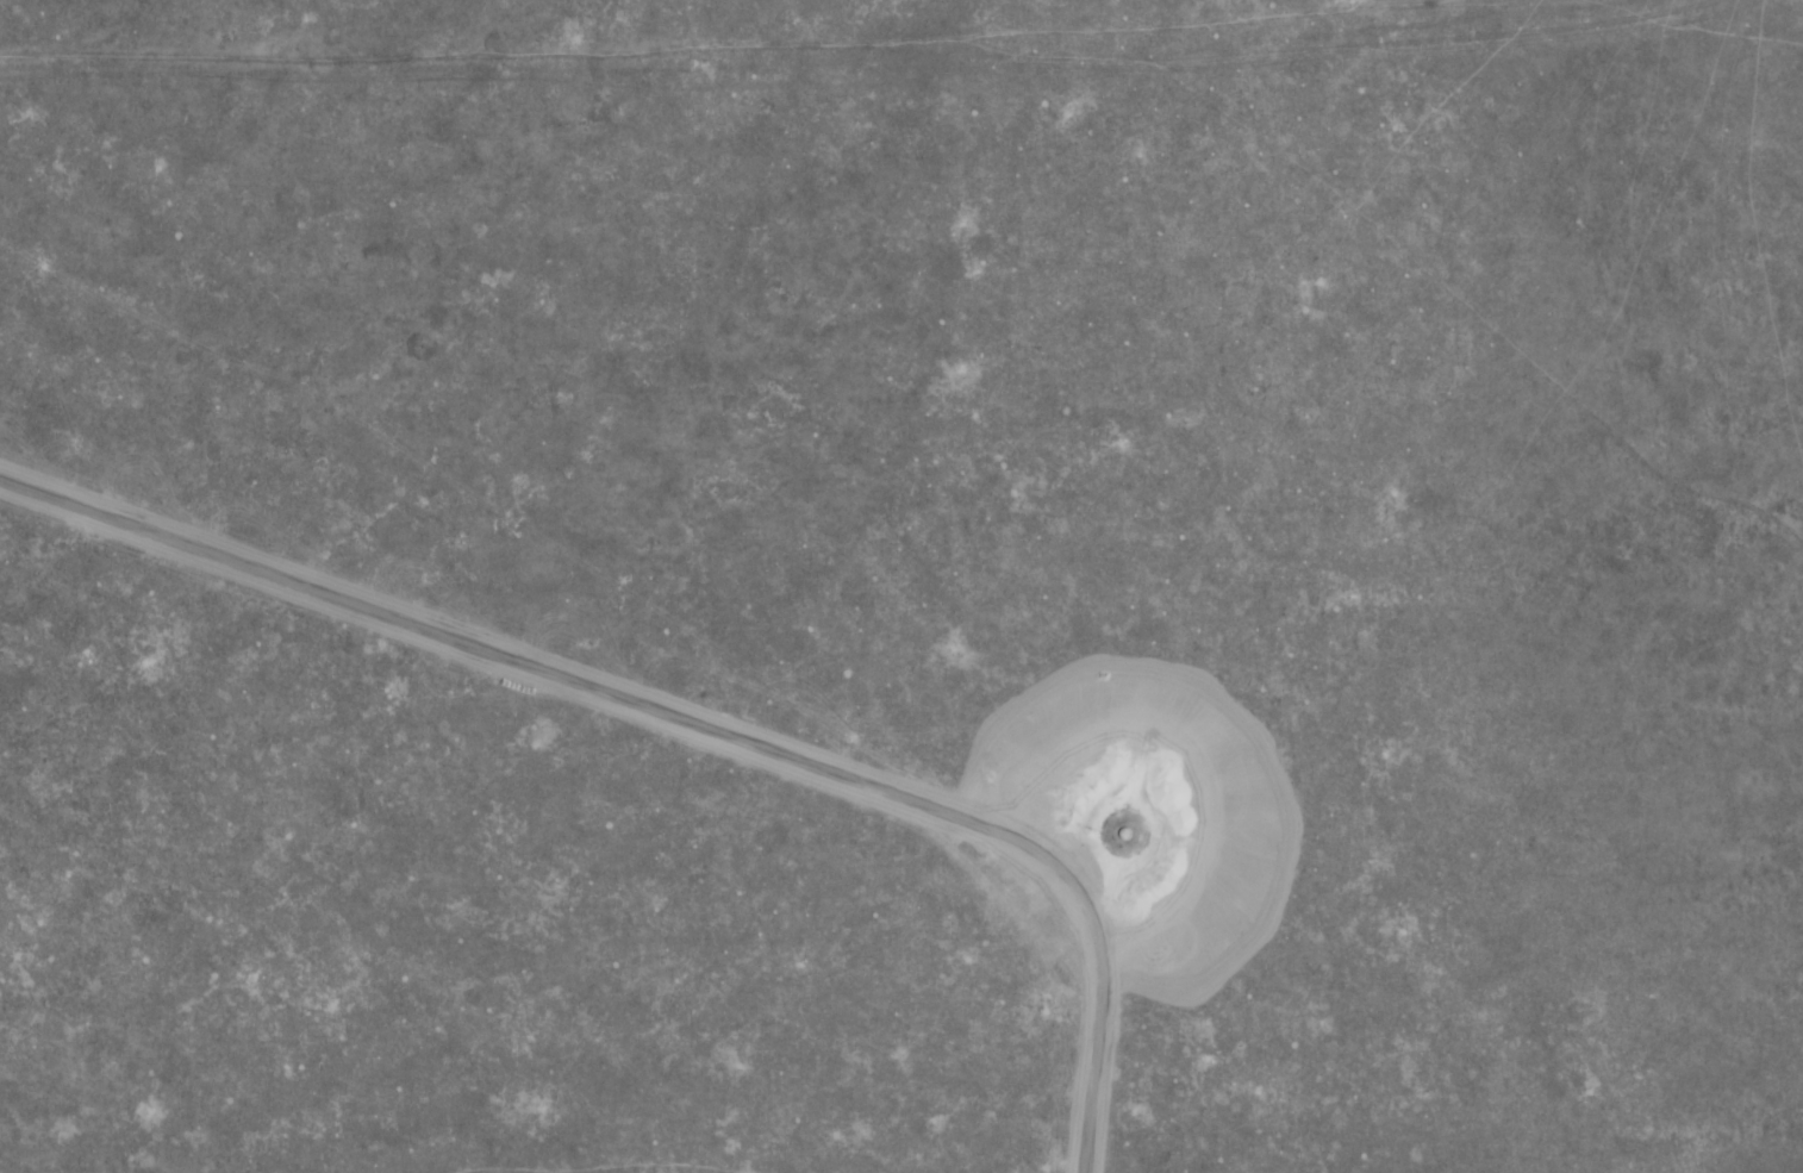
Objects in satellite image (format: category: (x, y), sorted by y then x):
wind turbine: (1133, 826)

